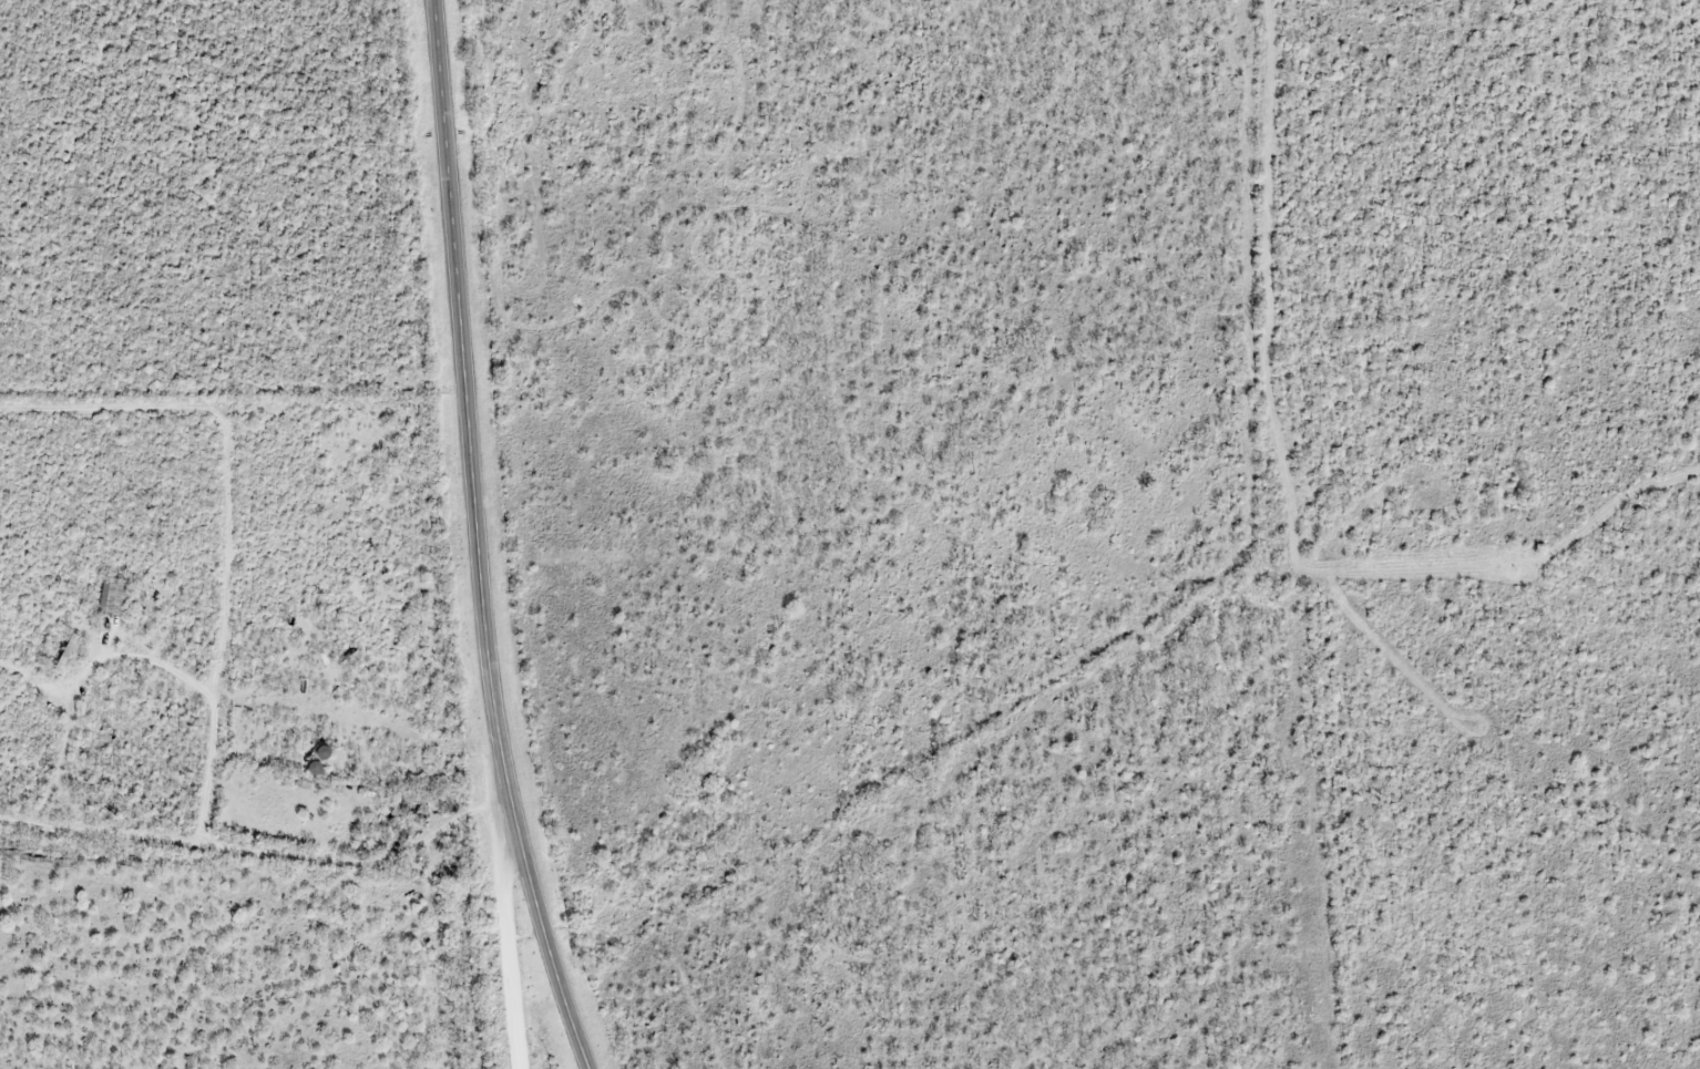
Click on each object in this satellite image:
road: (477, 539)
building: (115, 595)
building: (66, 654)
road: (505, 943)

